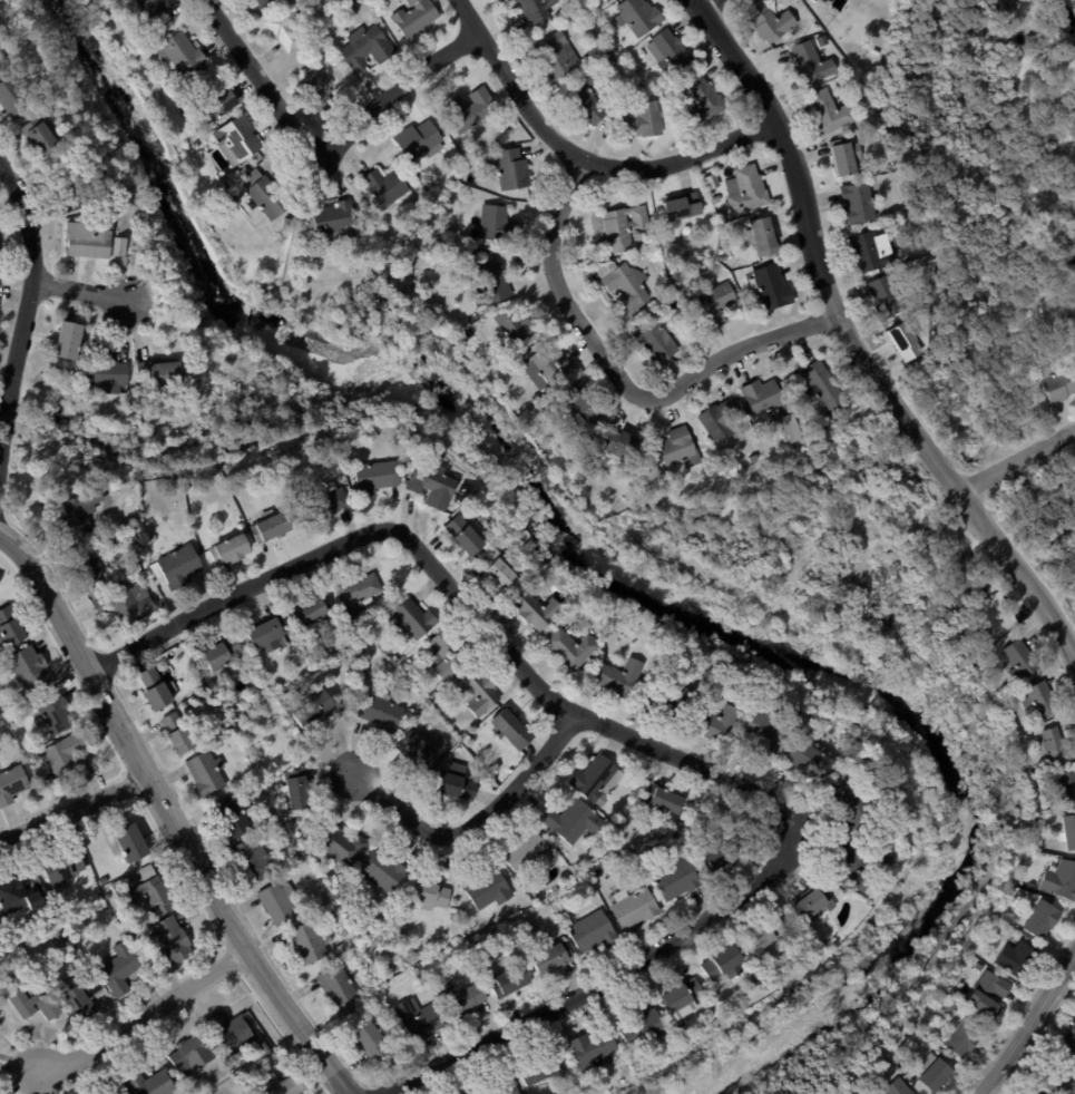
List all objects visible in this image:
building: (607, 0)
building: (824, 1)
building: (263, 3)
building: (349, 3)
road: (706, 4)
building: (535, 9)
building: (152, 12)
building: (578, 13)
building: (639, 16)
building: (414, 17)
building: (771, 21)
building: (285, 28)
building: (885, 30)
building: (613, 41)
building: (1074, 47)
building: (367, 48)
building: (670, 51)
building: (874, 51)
building: (183, 53)
building: (556, 56)
building: (1074, 58)
building: (607, 62)
building: (0, 64)
building: (811, 65)
building: (846, 68)
building: (317, 90)
building: (213, 95)
building: (12, 98)
building: (586, 98)
building: (703, 101)
building: (187, 109)
building: (470, 110)
building: (831, 113)
building: (644, 120)
building: (862, 134)
building: (39, 137)
building: (236, 137)
building: (420, 140)
road: (317, 156)
building: (846, 157)
road: (579, 162)
building: (512, 169)
building: (385, 187)
building: (70, 189)
building: (746, 191)
building: (265, 195)
building: (717, 199)
building: (859, 204)
building: (682, 207)
building: (912, 212)
building: (723, 214)
building: (420, 217)
building: (333, 222)
building: (499, 225)
building: (624, 228)
building: (763, 237)
building: (89, 240)
building: (118, 246)
building: (873, 252)
building: (648, 256)
building: (467, 257)
building: (723, 257)
building: (750, 264)
building: (71, 266)
building: (678, 280)
building: (491, 284)
building: (626, 286)
building: (773, 289)
road: (85, 290)
building: (887, 297)
building: (923, 299)
building: (716, 303)
road: (28, 311)
building: (518, 328)
building: (672, 331)
building: (656, 340)
building: (69, 342)
building: (906, 342)
road: (850, 343)
building: (549, 368)
building: (108, 372)
building: (160, 375)
road: (620, 378)
building: (187, 379)
building: (1059, 385)
building: (823, 388)
building: (763, 400)
building: (146, 401)
building: (791, 403)
building: (584, 406)
building: (134, 410)
building: (721, 421)
building: (819, 431)
building: (623, 446)
building: (680, 449)
building: (754, 459)
road: (1018, 461)
building: (55, 473)
building: (115, 473)
building: (375, 478)
building: (432, 485)
building: (323, 502)
building: (72, 517)
building: (271, 529)
building: (467, 536)
building: (152, 538)
building: (114, 541)
building: (502, 548)
building: (229, 551)
building: (545, 557)
building: (81, 565)
building: (179, 567)
building: (500, 575)
building: (969, 582)
building: (1074, 593)
building: (358, 594)
road: (236, 597)
building: (125, 603)
building: (312, 608)
building: (535, 612)
building: (412, 618)
building: (607, 622)
building: (10, 626)
building: (270, 632)
building: (367, 639)
building: (570, 648)
building: (225, 654)
building: (450, 654)
building: (395, 658)
building: (1020, 660)
building: (163, 665)
building: (28, 668)
building: (365, 668)
building: (266, 673)
building: (654, 676)
building: (993, 676)
building: (619, 678)
building: (157, 688)
building: (1003, 688)
building: (479, 692)
building: (432, 695)
building: (1040, 700)
building: (667, 701)
building: (313, 707)
road: (567, 707)
building: (52, 711)
building: (382, 711)
building: (717, 723)
building: (0, 727)
building: (244, 729)
building: (511, 729)
building: (769, 729)
road: (120, 730)
building: (177, 733)
building: (468, 740)
building: (1055, 745)
building: (418, 749)
building: (67, 755)
building: (814, 758)
building: (627, 766)
building: (206, 773)
building: (598, 779)
building: (49, 780)
building: (12, 784)
building: (457, 784)
building: (1067, 789)
building: (297, 790)
building: (664, 799)
building: (856, 802)
building: (1048, 808)
road: (74, 810)
building: (235, 817)
building: (574, 820)
road: (478, 822)
building: (283, 824)
building: (905, 827)
building: (1068, 831)
building: (128, 842)
building: (341, 844)
building: (560, 848)
building: (526, 850)
building: (642, 850)
building: (566, 853)
building: (255, 861)
building: (62, 866)
building: (851, 866)
building: (146, 870)
building: (382, 870)
building: (675, 879)
building: (1067, 881)
building: (1, 885)
building: (120, 886)
building: (489, 889)
building: (429, 895)
building: (108, 896)
building: (155, 896)
building: (32, 899)
building: (812, 901)
building: (278, 903)
building: (636, 908)
building: (1044, 919)
building: (789, 920)
building: (594, 931)
building: (134, 937)
building: (766, 937)
building: (173, 940)
building: (309, 942)
building: (469, 946)
building: (65, 949)
building: (163, 959)
building: (551, 959)
building: (1017, 959)
building: (991, 964)
building: (724, 965)
building: (119, 967)
building: (417, 970)
building: (510, 983)
road: (607, 983)
building: (338, 986)
building: (763, 987)
building: (81, 990)
building: (986, 993)
building: (32, 995)
building: (684, 998)
building: (461, 999)
building: (641, 1002)
road: (289, 1013)
road: (141, 1019)
building: (419, 1019)
road: (1027, 1027)
building: (643, 1029)
building: (231, 1032)
building: (964, 1037)
building: (1072, 1039)
building: (371, 1042)
building: (265, 1047)
building: (592, 1049)
building: (192, 1055)
building: (544, 1068)
building: (935, 1074)
building: (1057, 1076)
building: (149, 1081)
building: (498, 1084)
building: (282, 1085)
building: (899, 1087)
building: (1032, 1092)
building: (1036, 1093)

